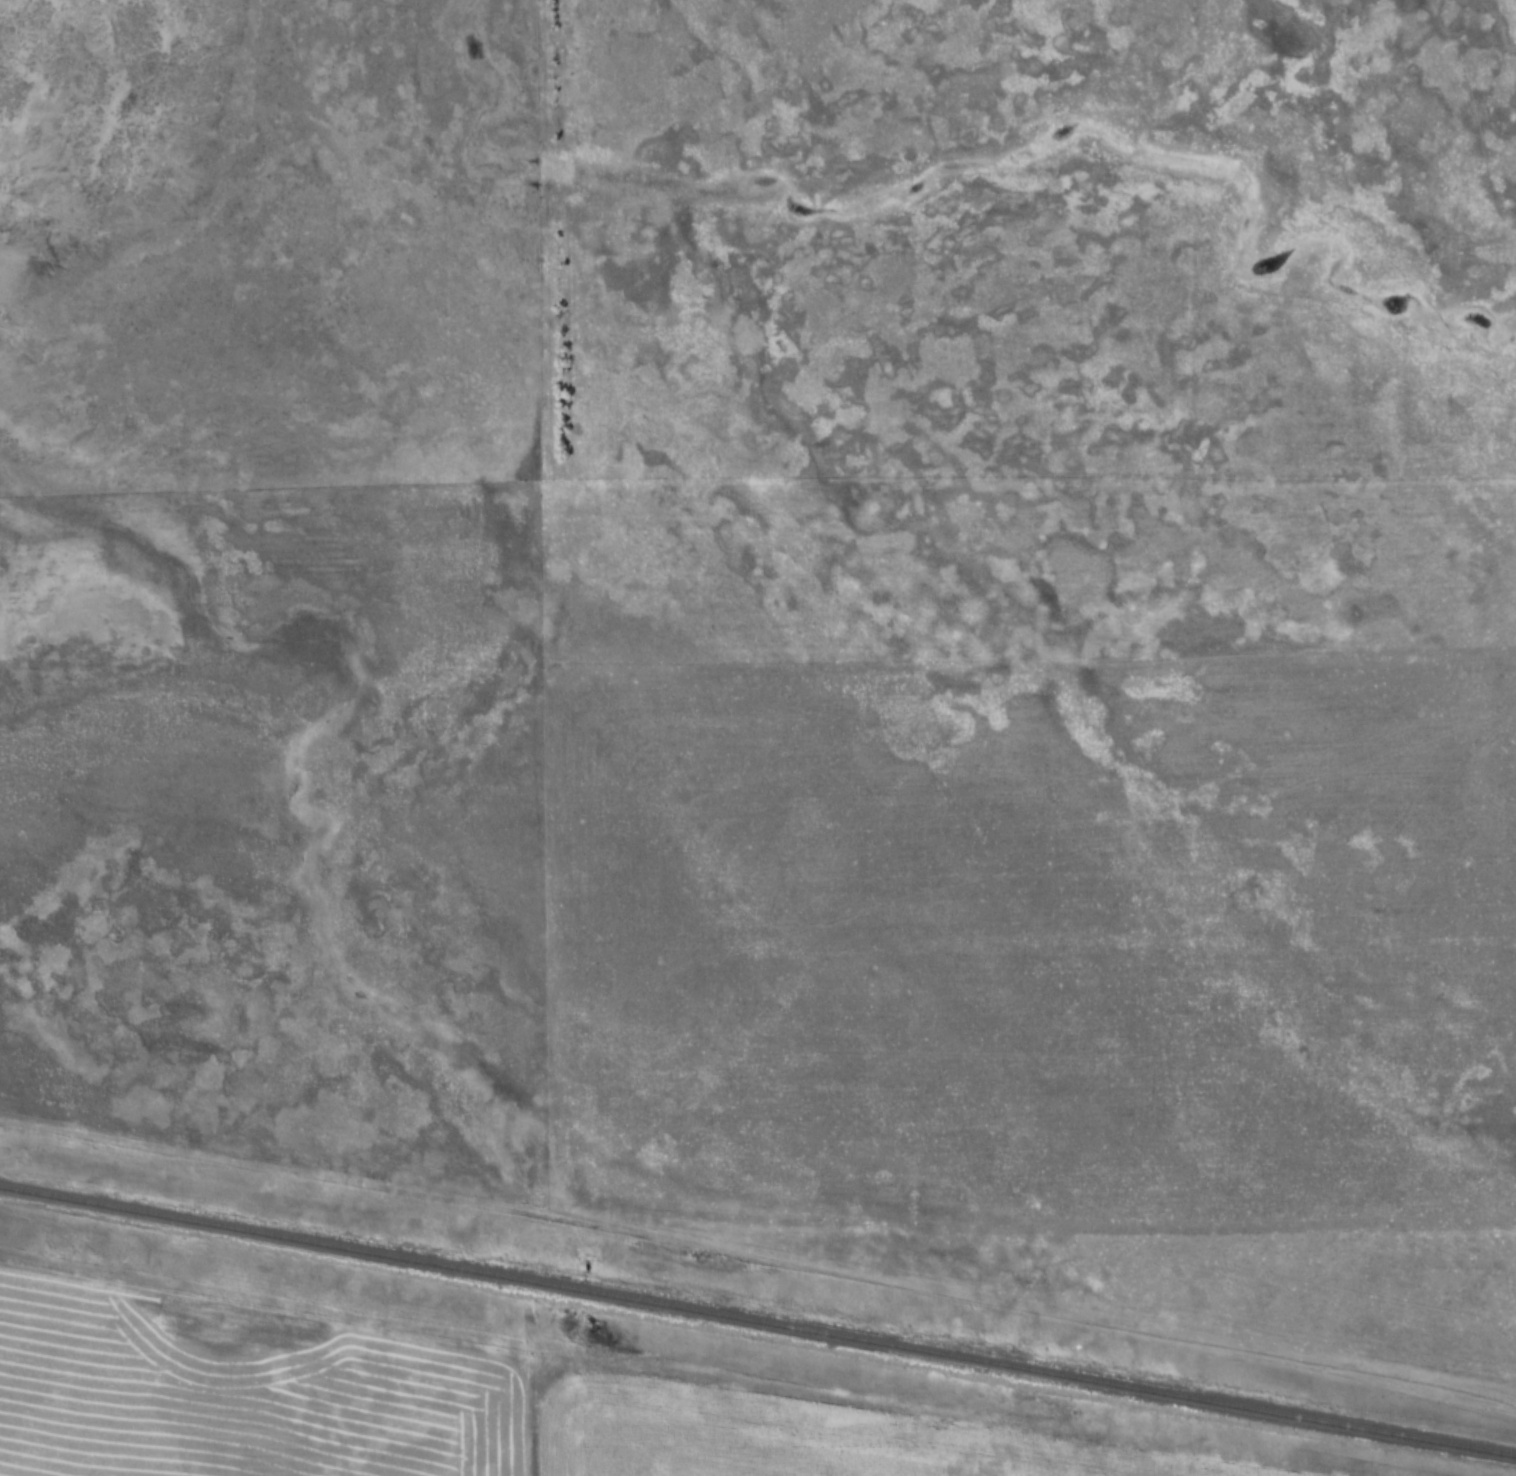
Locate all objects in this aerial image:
railway: (757, 1317)

